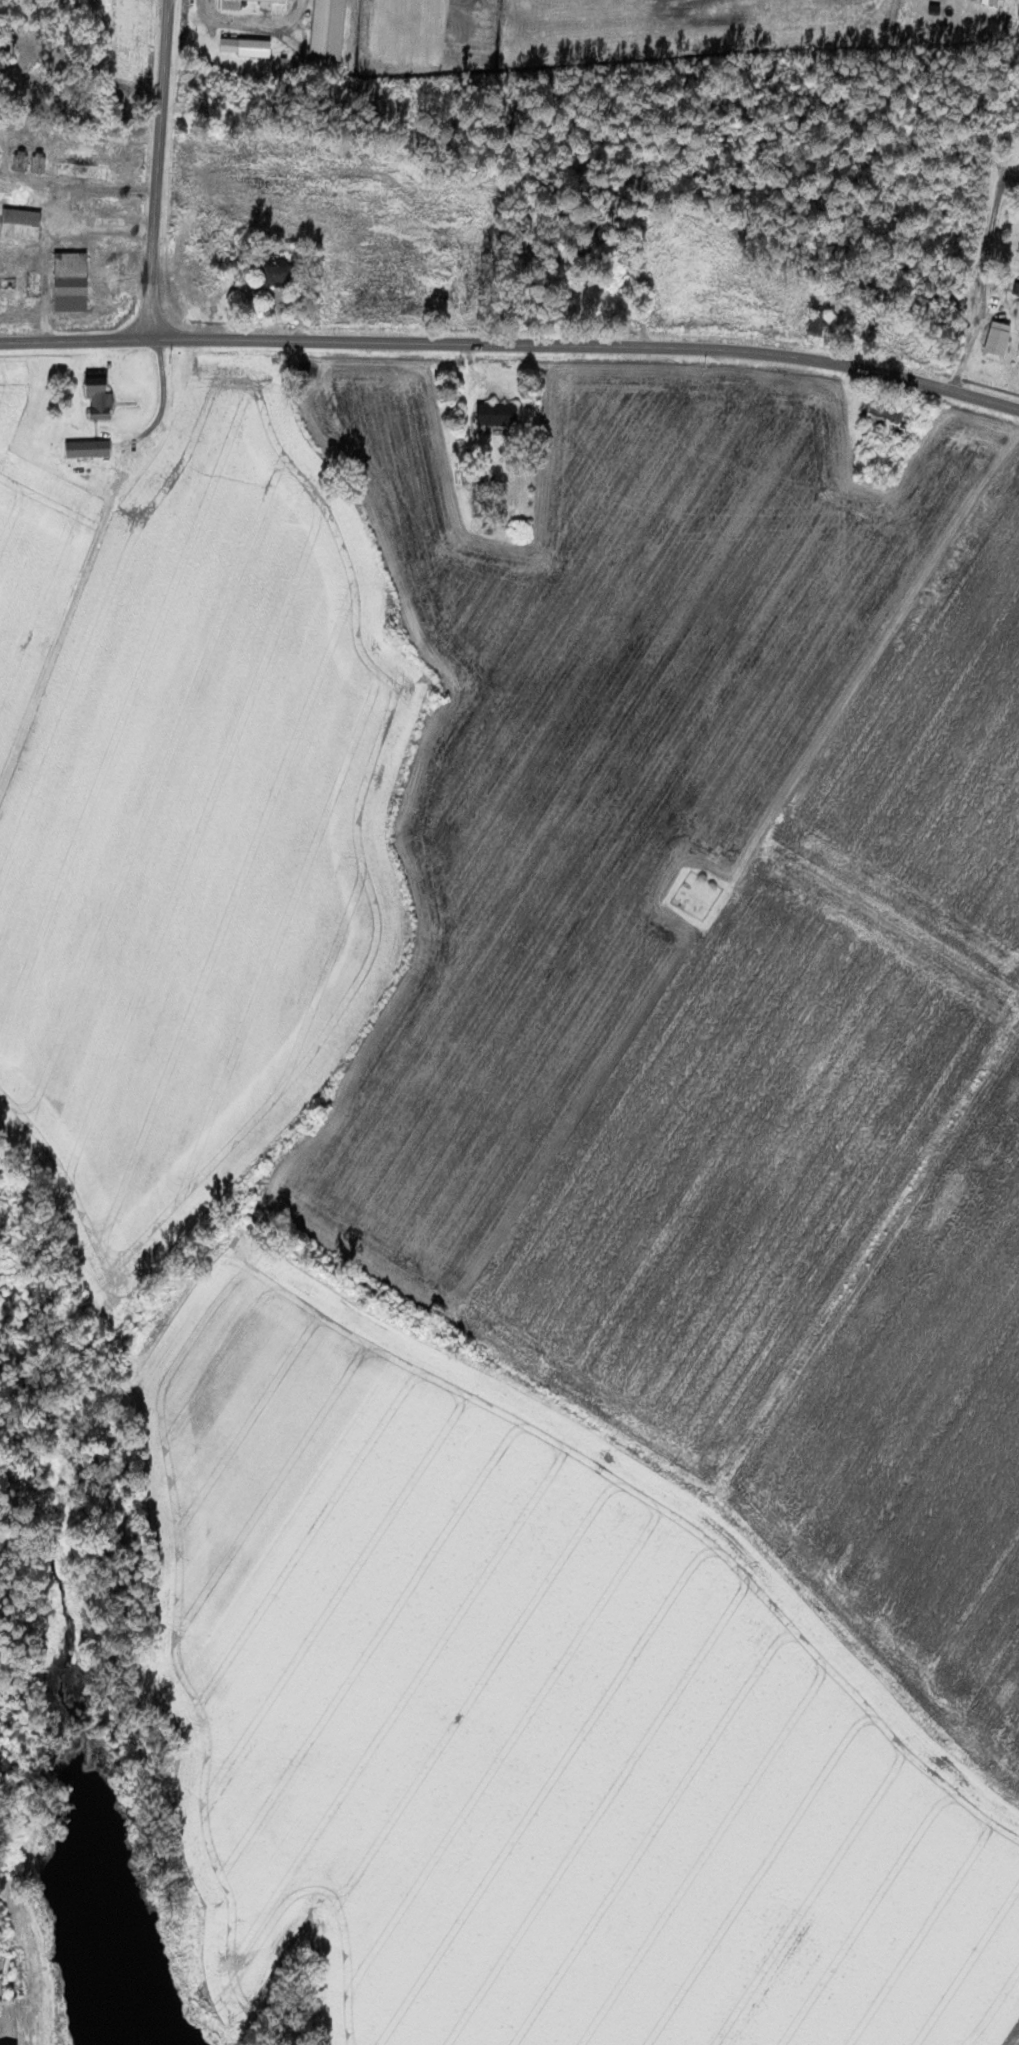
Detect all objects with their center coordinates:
building: (231, 6)
building: (329, 30)
building: (247, 47)
road: (157, 168)
building: (21, 224)
building: (277, 271)
building: (70, 283)
building: (998, 339)
road: (512, 344)
building: (1018, 352)
building: (99, 395)
building: (497, 413)
building: (88, 448)

